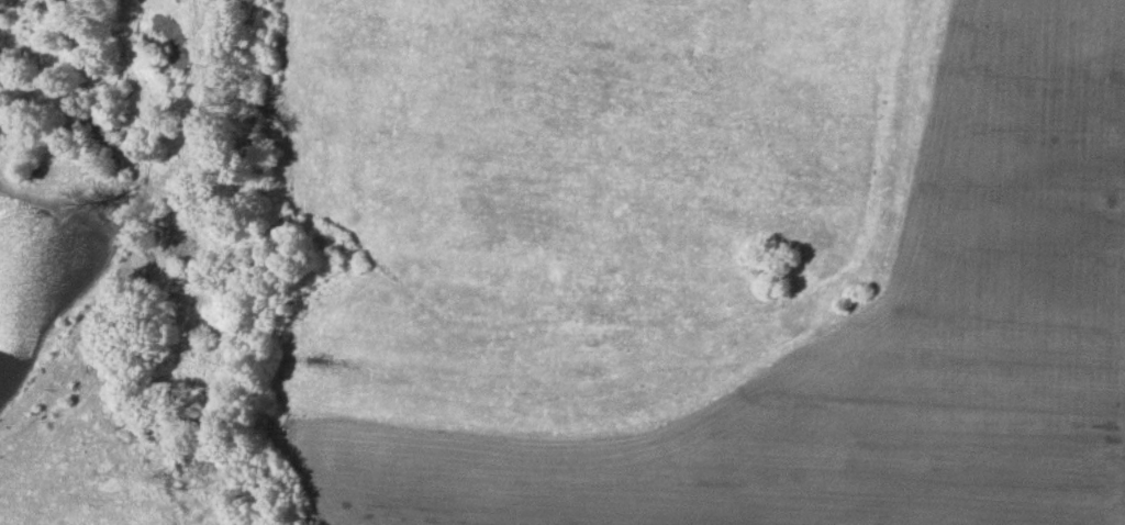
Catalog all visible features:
crop: (867, 346)

